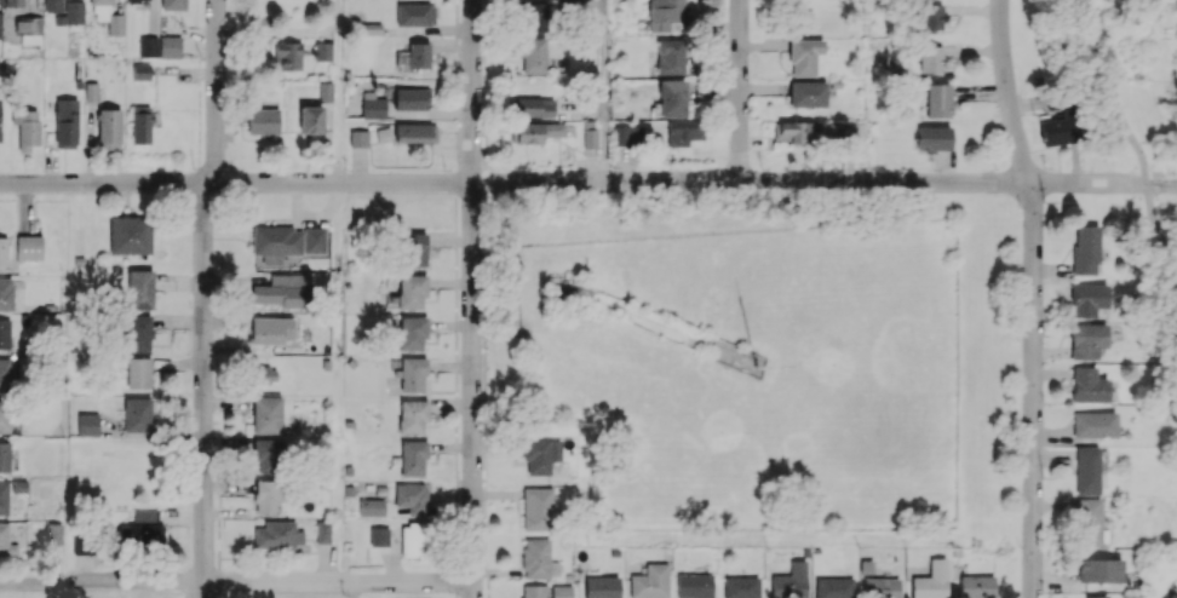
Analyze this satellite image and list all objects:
building: (137, 0)
building: (13, 2)
building: (172, 5)
building: (53, 6)
building: (71, 13)
building: (665, 13)
building: (414, 15)
building: (931, 15)
building: (107, 16)
building: (535, 16)
building: (0, 22)
building: (28, 29)
building: (148, 46)
building: (170, 46)
building: (323, 51)
building: (419, 54)
building: (532, 54)
building: (287, 56)
building: (670, 56)
building: (804, 56)
building: (931, 57)
building: (140, 71)
road: (603, 90)
road: (338, 91)
road: (739, 91)
building: (325, 92)
road: (1007, 92)
road: (1112, 92)
building: (806, 93)
building: (410, 98)
building: (672, 98)
building: (938, 99)
building: (372, 105)
building: (533, 107)
building: (310, 120)
building: (65, 121)
building: (263, 121)
building: (140, 125)
building: (108, 126)
building: (1058, 128)
building: (27, 130)
building: (535, 131)
building: (850, 131)
building: (414, 132)
building: (683, 132)
building: (796, 132)
building: (588, 134)
building: (627, 136)
building: (358, 138)
building: (932, 138)
road: (573, 180)
road: (1161, 185)
building: (130, 235)
road: (1159, 235)
building: (314, 240)
building: (276, 242)
building: (29, 247)
building: (412, 248)
building: (1085, 249)
building: (2, 254)
building: (139, 288)
building: (279, 291)
building: (410, 291)
building: (6, 293)
building: (565, 294)
road: (203, 298)
road: (472, 299)
building: (1087, 299)
building: (271, 329)
building: (412, 332)
building: (4, 333)
building: (137, 333)
building: (1086, 340)
building: (138, 373)
building: (4, 374)
building: (264, 374)
building: (410, 374)
building: (1089, 385)
road: (1032, 390)
building: (137, 414)
building: (266, 414)
building: (5, 415)
building: (412, 415)
building: (87, 424)
building: (1093, 424)
building: (268, 454)
building: (540, 455)
building: (5, 456)
building: (413, 458)
building: (1086, 470)
building: (269, 495)
building: (4, 498)
building: (412, 498)
building: (371, 507)
building: (538, 507)
building: (1087, 521)
building: (142, 529)
building: (322, 531)
building: (277, 535)
building: (379, 536)
building: (413, 540)
building: (6, 542)
building: (82, 544)
building: (538, 559)
building: (1100, 569)
road: (236, 581)
building: (790, 581)
building: (931, 581)
building: (650, 582)
building: (694, 585)
building: (601, 586)
building: (976, 586)
building: (741, 587)
building: (833, 587)
building: (880, 587)
building: (533, 591)
building: (561, 591)
building: (1096, 596)
building: (1169, 596)

